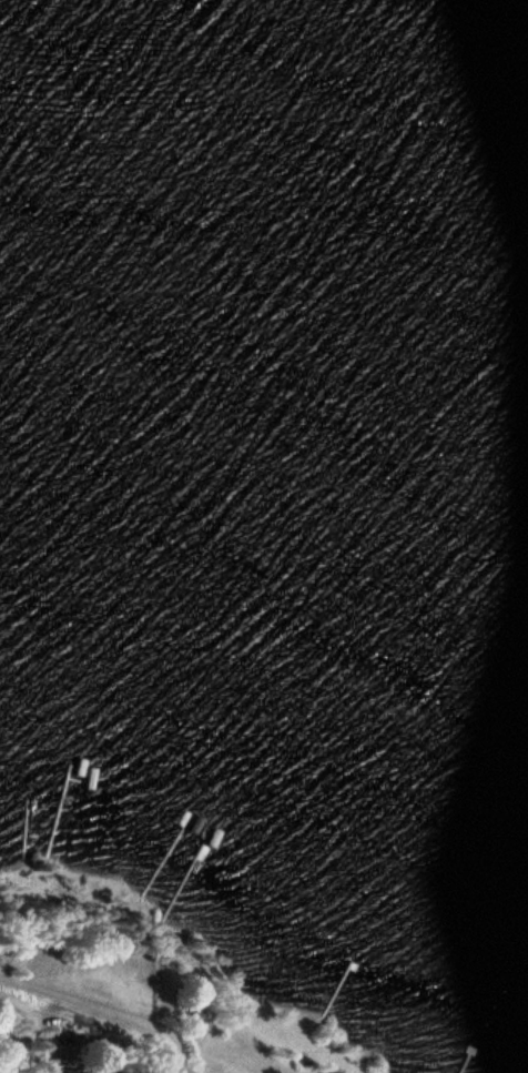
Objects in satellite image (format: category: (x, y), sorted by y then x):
road: (105, 1006)
road: (23, 1013)
road: (44, 1050)

